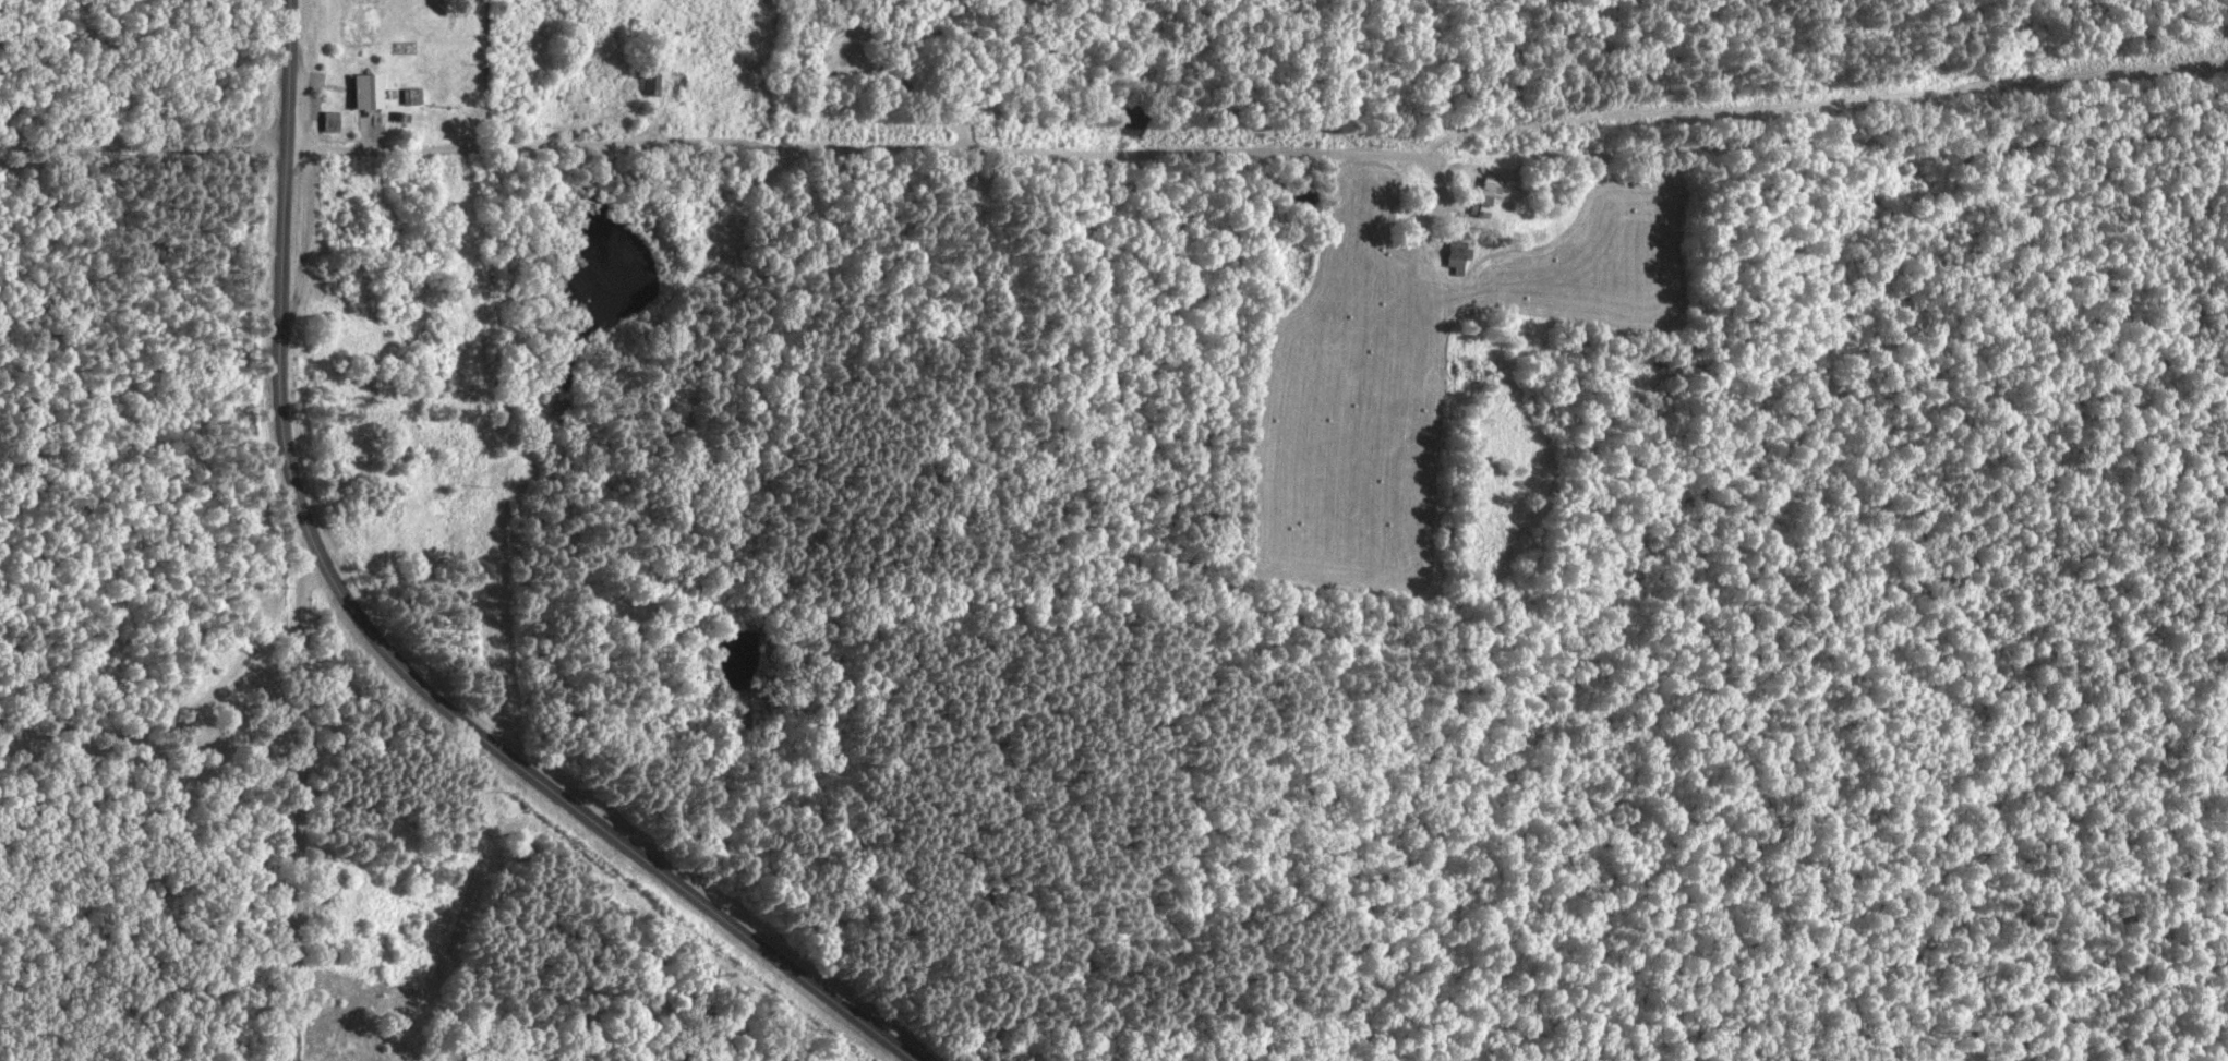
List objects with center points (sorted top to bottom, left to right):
building: (649, 83)
building: (372, 95)
road: (1184, 137)
road: (144, 142)
building: (1493, 198)
building: (1462, 257)
road: (282, 300)
road: (300, 815)
road: (639, 824)

